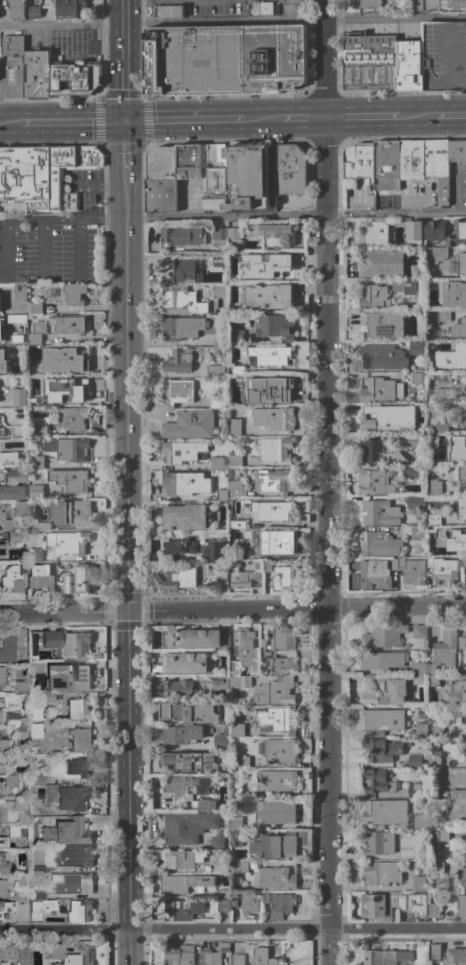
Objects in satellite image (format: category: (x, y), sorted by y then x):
building: (368, 4)
building: (443, 4)
building: (416, 5)
building: (70, 7)
building: (261, 8)
building: (17, 9)
building: (91, 9)
building: (168, 11)
building: (33, 12)
road: (233, 23)
building: (444, 55)
building: (225, 59)
road: (124, 60)
building: (370, 63)
building: (410, 65)
building: (12, 67)
building: (36, 74)
building: (75, 79)
road: (394, 115)
road: (223, 119)
traffic signals: (124, 122)
road: (71, 124)
road: (9, 126)
road: (124, 147)
building: (456, 151)
building: (411, 159)
building: (188, 161)
building: (359, 162)
building: (386, 166)
building: (437, 167)
building: (289, 169)
building: (39, 175)
building: (214, 176)
building: (249, 177)
building: (161, 180)
road: (99, 184)
building: (71, 202)
road: (295, 217)
road: (61, 221)
building: (414, 230)
building: (434, 230)
building: (372, 233)
building: (457, 234)
building: (278, 236)
building: (180, 237)
building: (217, 237)
building: (234, 238)
road: (77, 247)
road: (43, 248)
road: (5, 250)
building: (436, 255)
building: (236, 257)
building: (219, 260)
building: (381, 263)
building: (458, 265)
building: (273, 267)
building: (182, 271)
building: (406, 286)
building: (219, 291)
building: (19, 292)
building: (51, 294)
building: (74, 294)
building: (454, 294)
building: (268, 296)
building: (374, 297)
building: (182, 303)
building: (35, 308)
building: (443, 316)
building: (18, 321)
building: (69, 324)
building: (382, 324)
building: (181, 328)
building: (276, 328)
building: (458, 328)
building: (37, 333)
building: (237, 336)
building: (219, 340)
building: (417, 347)
building: (270, 355)
building: (16, 356)
building: (451, 357)
building: (383, 358)
building: (63, 360)
building: (3, 361)
building: (178, 361)
building: (237, 370)
building: (215, 371)
building: (415, 378)
building: (73, 388)
building: (379, 389)
building: (267, 390)
building: (177, 392)
building: (464, 392)
building: (433, 395)
building: (19, 398)
building: (35, 400)
building: (214, 402)
building: (416, 409)
building: (462, 415)
building: (73, 418)
building: (277, 418)
building: (377, 419)
building: (190, 425)
building: (234, 427)
building: (438, 427)
building: (38, 429)
building: (0, 431)
building: (413, 441)
building: (457, 448)
building: (72, 449)
building: (274, 449)
building: (181, 452)
building: (378, 452)
building: (0, 455)
building: (235, 461)
building: (36, 462)
building: (218, 463)
building: (411, 472)
building: (230, 473)
building: (16, 475)
building: (462, 477)
building: (70, 480)
building: (274, 481)
road: (325, 482)
building: (374, 482)
building: (184, 484)
building: (434, 487)
building: (236, 489)
building: (35, 491)
building: (11, 492)
building: (221, 495)
building: (415, 502)
building: (0, 507)
building: (459, 507)
building: (20, 508)
building: (271, 510)
building: (72, 512)
building: (380, 513)
building: (185, 517)
building: (433, 519)
building: (4, 522)
building: (237, 524)
building: (42, 526)
building: (413, 532)
building: (18, 536)
building: (463, 538)
building: (67, 542)
building: (275, 542)
building: (379, 544)
building: (178, 545)
building: (3, 547)
road: (124, 550)
building: (214, 550)
building: (436, 551)
building: (236, 552)
building: (34, 554)
building: (464, 562)
building: (397, 564)
building: (266, 566)
building: (24, 567)
building: (220, 570)
building: (442, 570)
building: (61, 572)
building: (414, 573)
building: (374, 574)
building: (80, 575)
building: (247, 575)
building: (41, 577)
building: (182, 577)
building: (283, 577)
building: (11, 578)
road: (232, 607)
traffic signals: (125, 609)
building: (419, 632)
building: (383, 636)
building: (193, 638)
building: (49, 639)
building: (283, 639)
building: (461, 643)
building: (73, 644)
building: (262, 644)
building: (6, 646)
building: (248, 650)
building: (442, 653)
building: (382, 660)
building: (281, 661)
building: (186, 663)
building: (37, 666)
building: (233, 669)
building: (418, 672)
building: (2, 675)
building: (74, 678)
building: (240, 681)
building: (219, 683)
building: (20, 688)
building: (178, 689)
building: (274, 691)
building: (383, 691)
building: (452, 694)
building: (46, 696)
building: (0, 703)
building: (77, 708)
building: (188, 711)
building: (35, 714)
building: (14, 719)
building: (276, 720)
building: (380, 721)
building: (236, 730)
building: (436, 730)
building: (35, 731)
building: (418, 731)
building: (19, 732)
building: (181, 734)
building: (80, 739)
building: (219, 741)
building: (3, 743)
building: (434, 748)
building: (463, 748)
building: (380, 750)
building: (279, 751)
building: (20, 757)
building: (190, 761)
building: (414, 761)
building: (434, 761)
building: (243, 762)
building: (78, 766)
building: (1, 768)
building: (37, 778)
building: (465, 780)
building: (10, 781)
building: (275, 781)
building: (376, 782)
building: (235, 783)
building: (188, 787)
building: (414, 788)
building: (457, 794)
building: (73, 797)
building: (205, 805)
building: (19, 806)
building: (39, 809)
building: (275, 812)
building: (385, 812)
building: (420, 822)
building: (235, 823)
building: (187, 827)
building: (17, 831)
building: (66, 832)
road: (460, 833)
building: (440, 835)
building: (235, 838)
building: (33, 841)
building: (216, 842)
building: (2, 843)
building: (378, 843)
building: (465, 844)
building: (278, 845)
building: (75, 856)
building: (234, 856)
building: (182, 859)
building: (3, 861)
building: (220, 865)
building: (241, 867)
building: (38, 868)
building: (436, 868)
building: (381, 873)
building: (462, 877)
building: (274, 878)
building: (23, 880)
building: (74, 883)
building: (183, 883)
building: (418, 883)
building: (3, 887)
building: (38, 894)
building: (224, 894)
building: (263, 896)
building: (393, 899)
building: (401, 902)
building: (248, 904)
building: (223, 905)
building: (281, 905)
building: (416, 905)
building: (461, 906)
building: (40, 907)
building: (375, 907)
building: (6, 909)
building: (79, 910)
building: (434, 910)
building: (178, 911)
road: (296, 926)
road: (63, 928)
road: (127, 946)
building: (7, 951)
building: (434, 952)
building: (213, 954)
building: (68, 955)
building: (179, 955)
building: (456, 956)
building: (263, 957)
building: (385, 957)
building: (237, 959)

